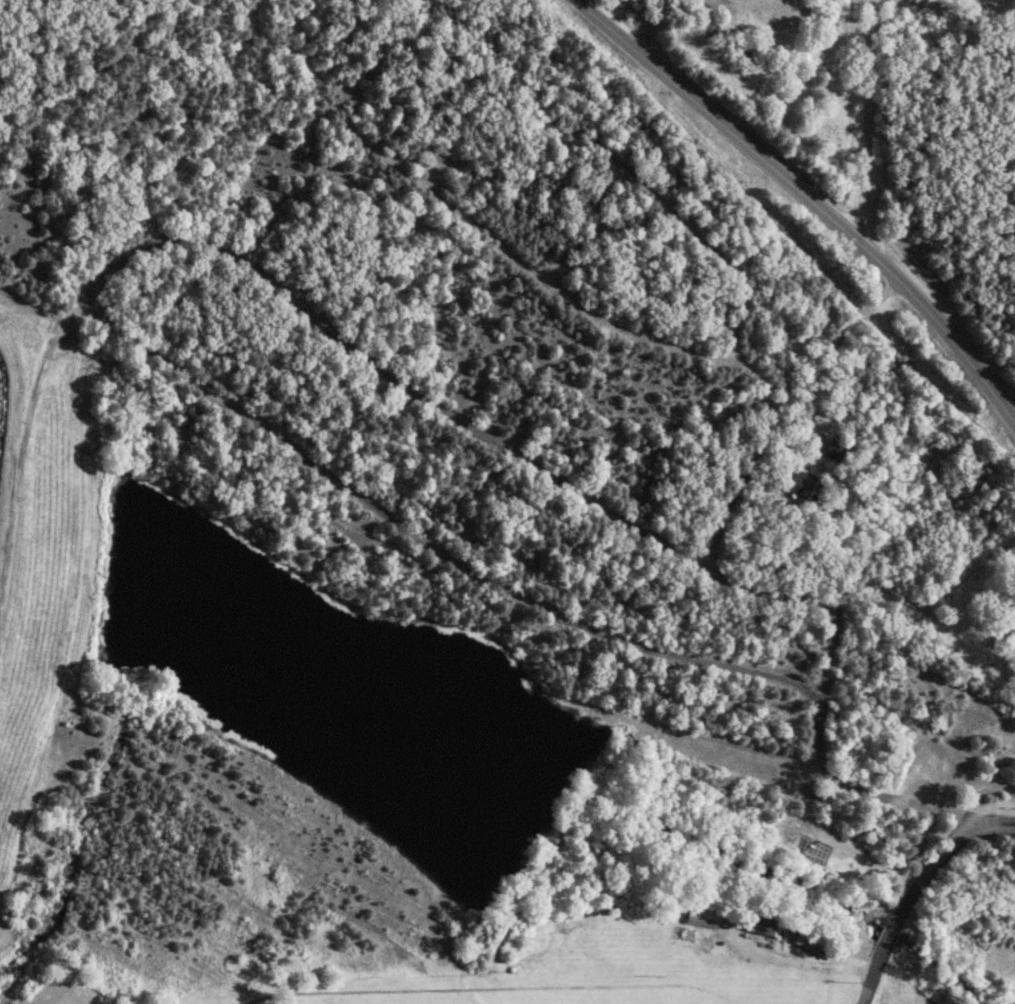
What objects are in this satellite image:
road: (862, 124)
road: (808, 198)
road: (29, 293)
road: (670, 320)
road: (827, 357)
road: (379, 358)
building: (834, 449)
building: (800, 484)
dam: (37, 547)
road: (522, 596)
road: (30, 597)
road: (774, 603)
building: (1008, 620)
road: (874, 858)
road: (919, 888)
building: (702, 917)
building: (763, 920)
building: (811, 940)
dam: (2, 944)
road: (801, 965)

